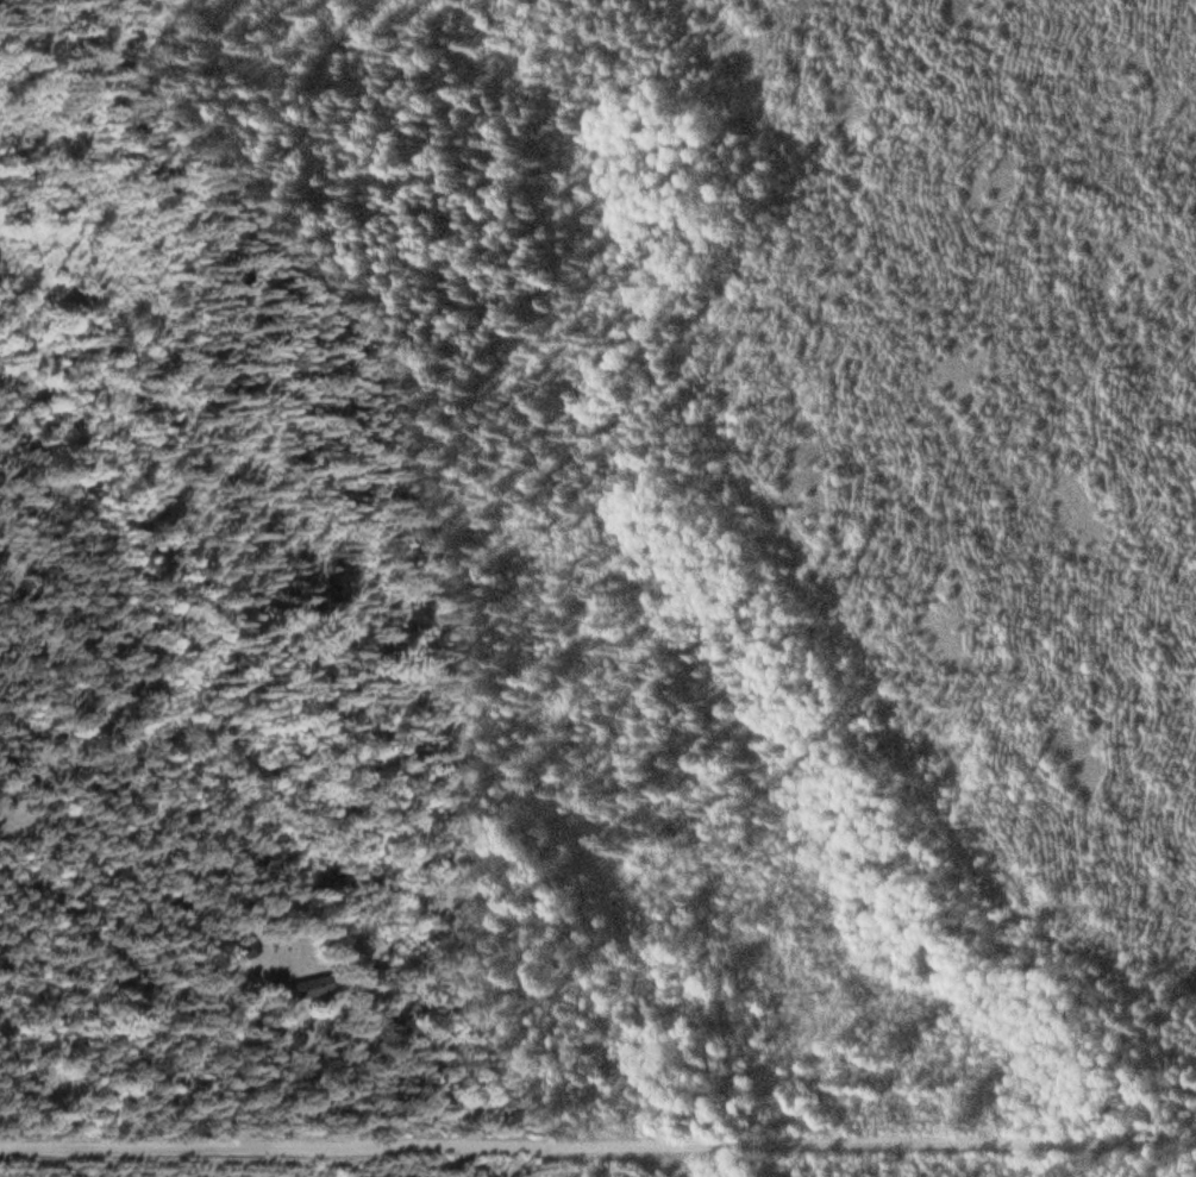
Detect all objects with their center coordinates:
building: (250, 951)
building: (309, 993)
road: (427, 1088)
road: (597, 1144)

